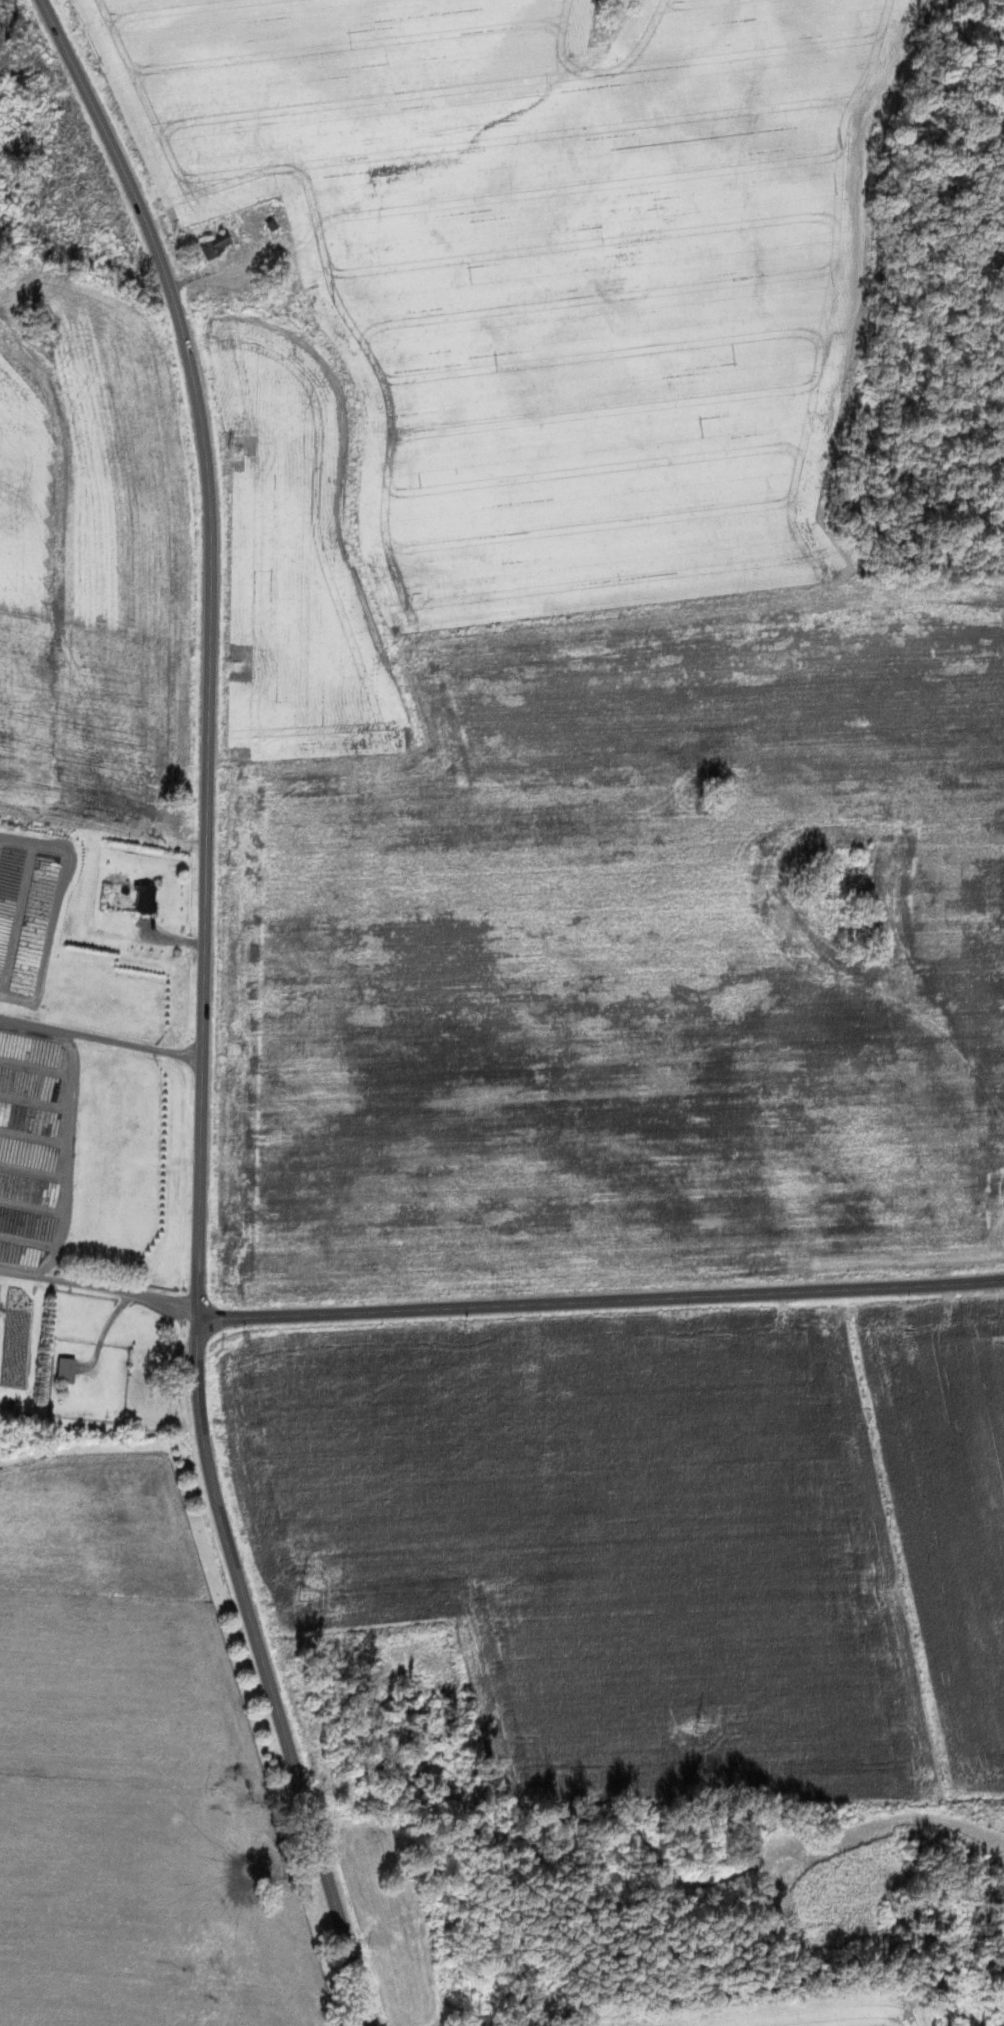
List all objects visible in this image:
building: (268, 224)
building: (212, 246)
building: (141, 898)
road: (204, 1009)
road: (601, 1301)
building: (61, 1370)
power tower: (301, 1595)
power tower: (696, 1727)

